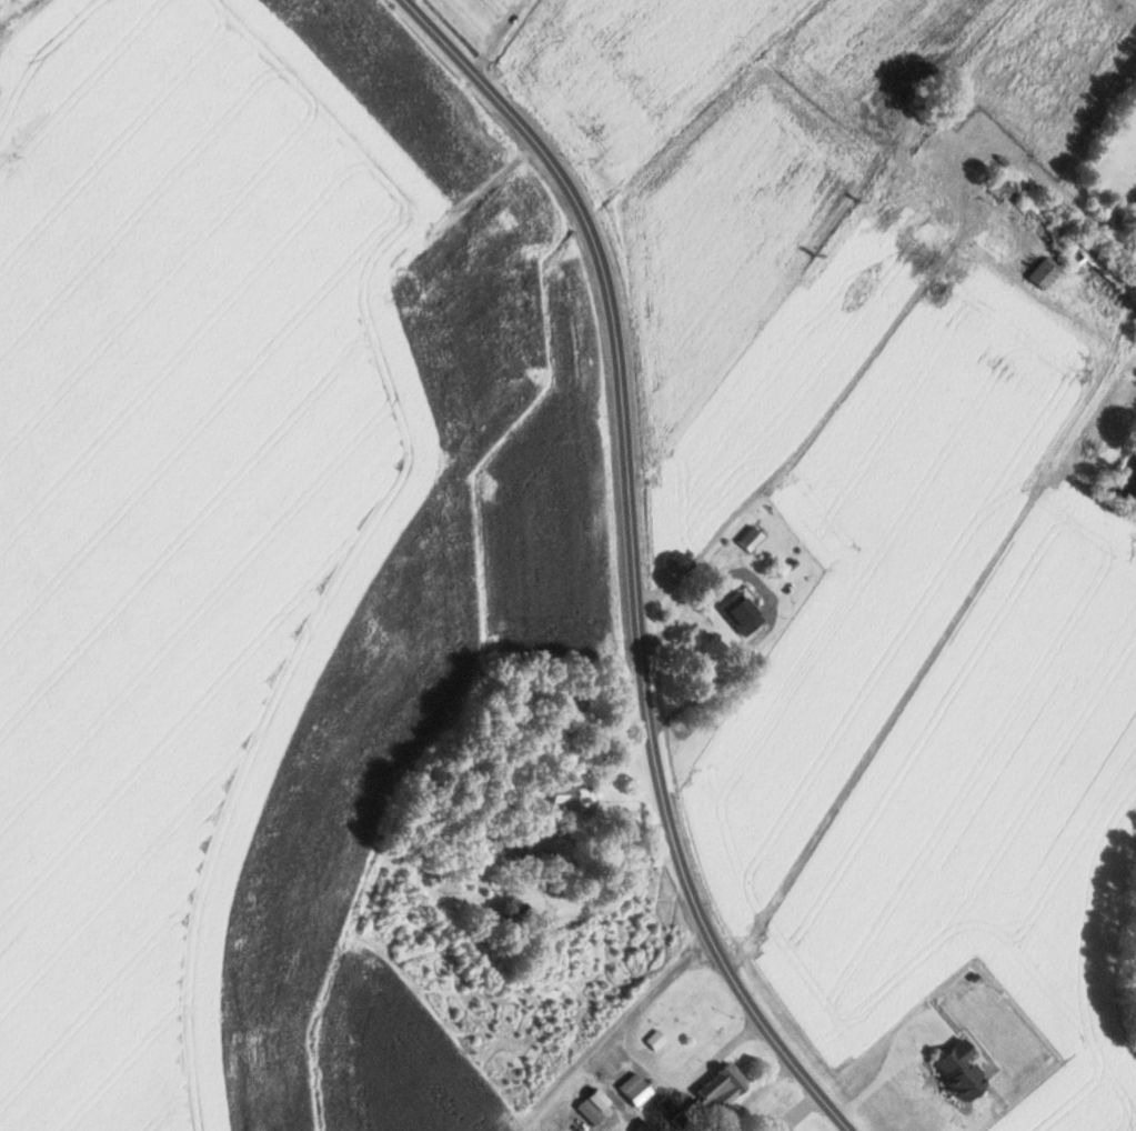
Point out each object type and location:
road: (12, 9)
building: (423, 253)
building: (1047, 272)
road: (765, 434)
building: (752, 539)
road: (633, 558)
building: (743, 613)
building: (574, 803)
road: (619, 1034)
building: (964, 1071)
building: (726, 1087)
building: (637, 1089)
building: (587, 1102)
building: (579, 1123)

